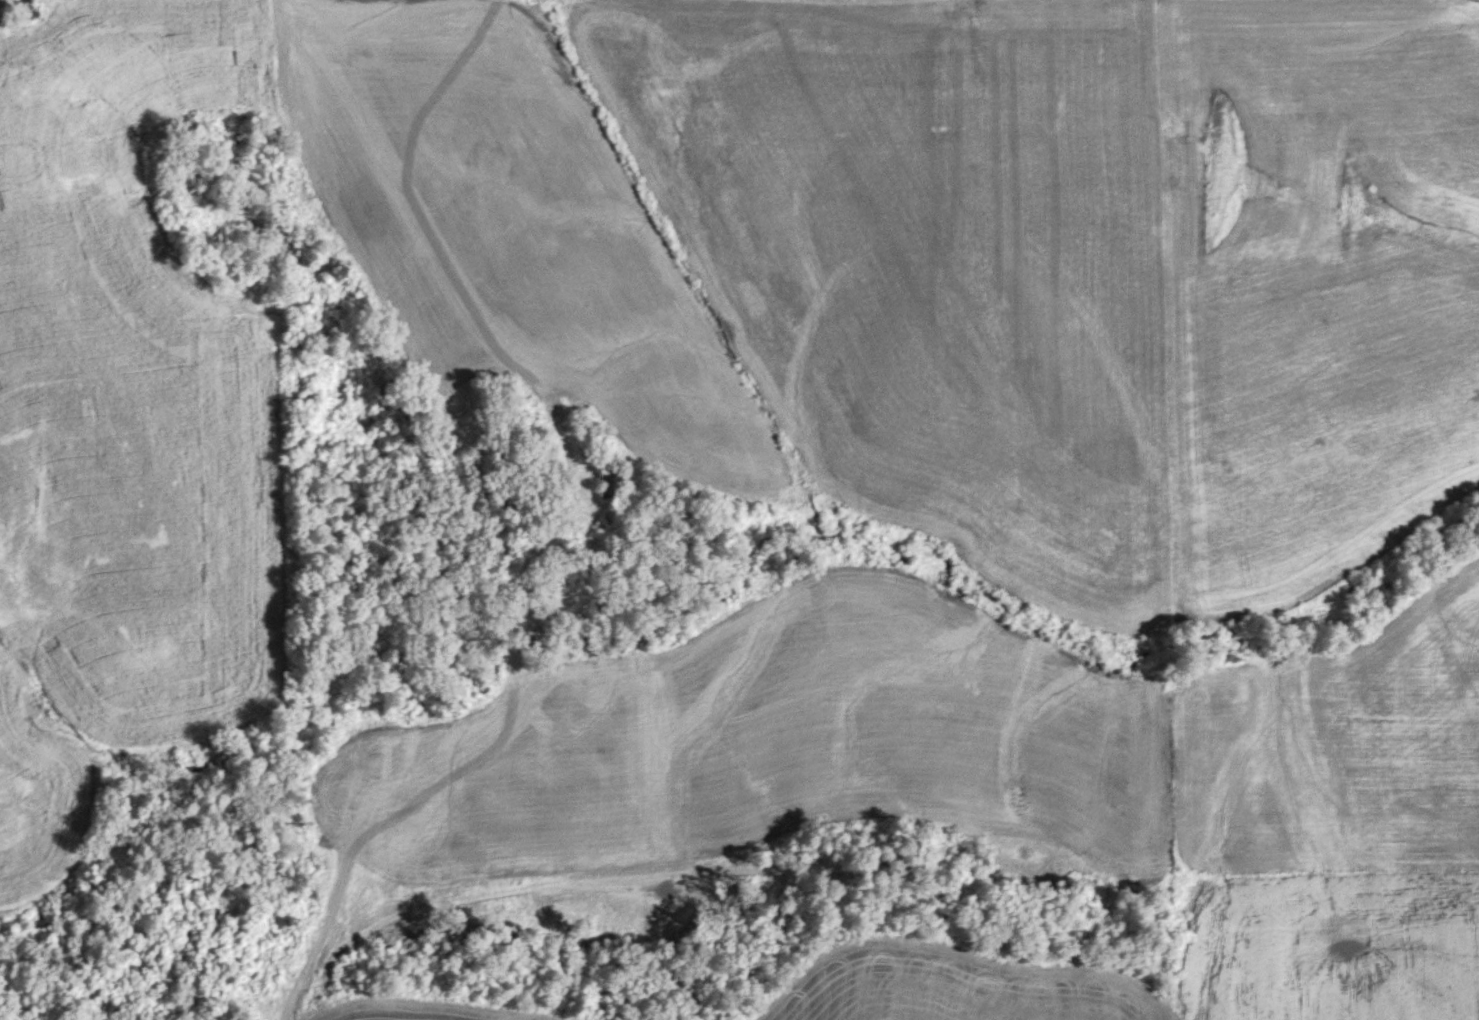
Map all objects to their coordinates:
building: (25, 11)
crop: (961, 260)
crop: (1318, 290)
crop: (271, 352)
building: (607, 482)
road: (550, 500)
crop: (1327, 949)

